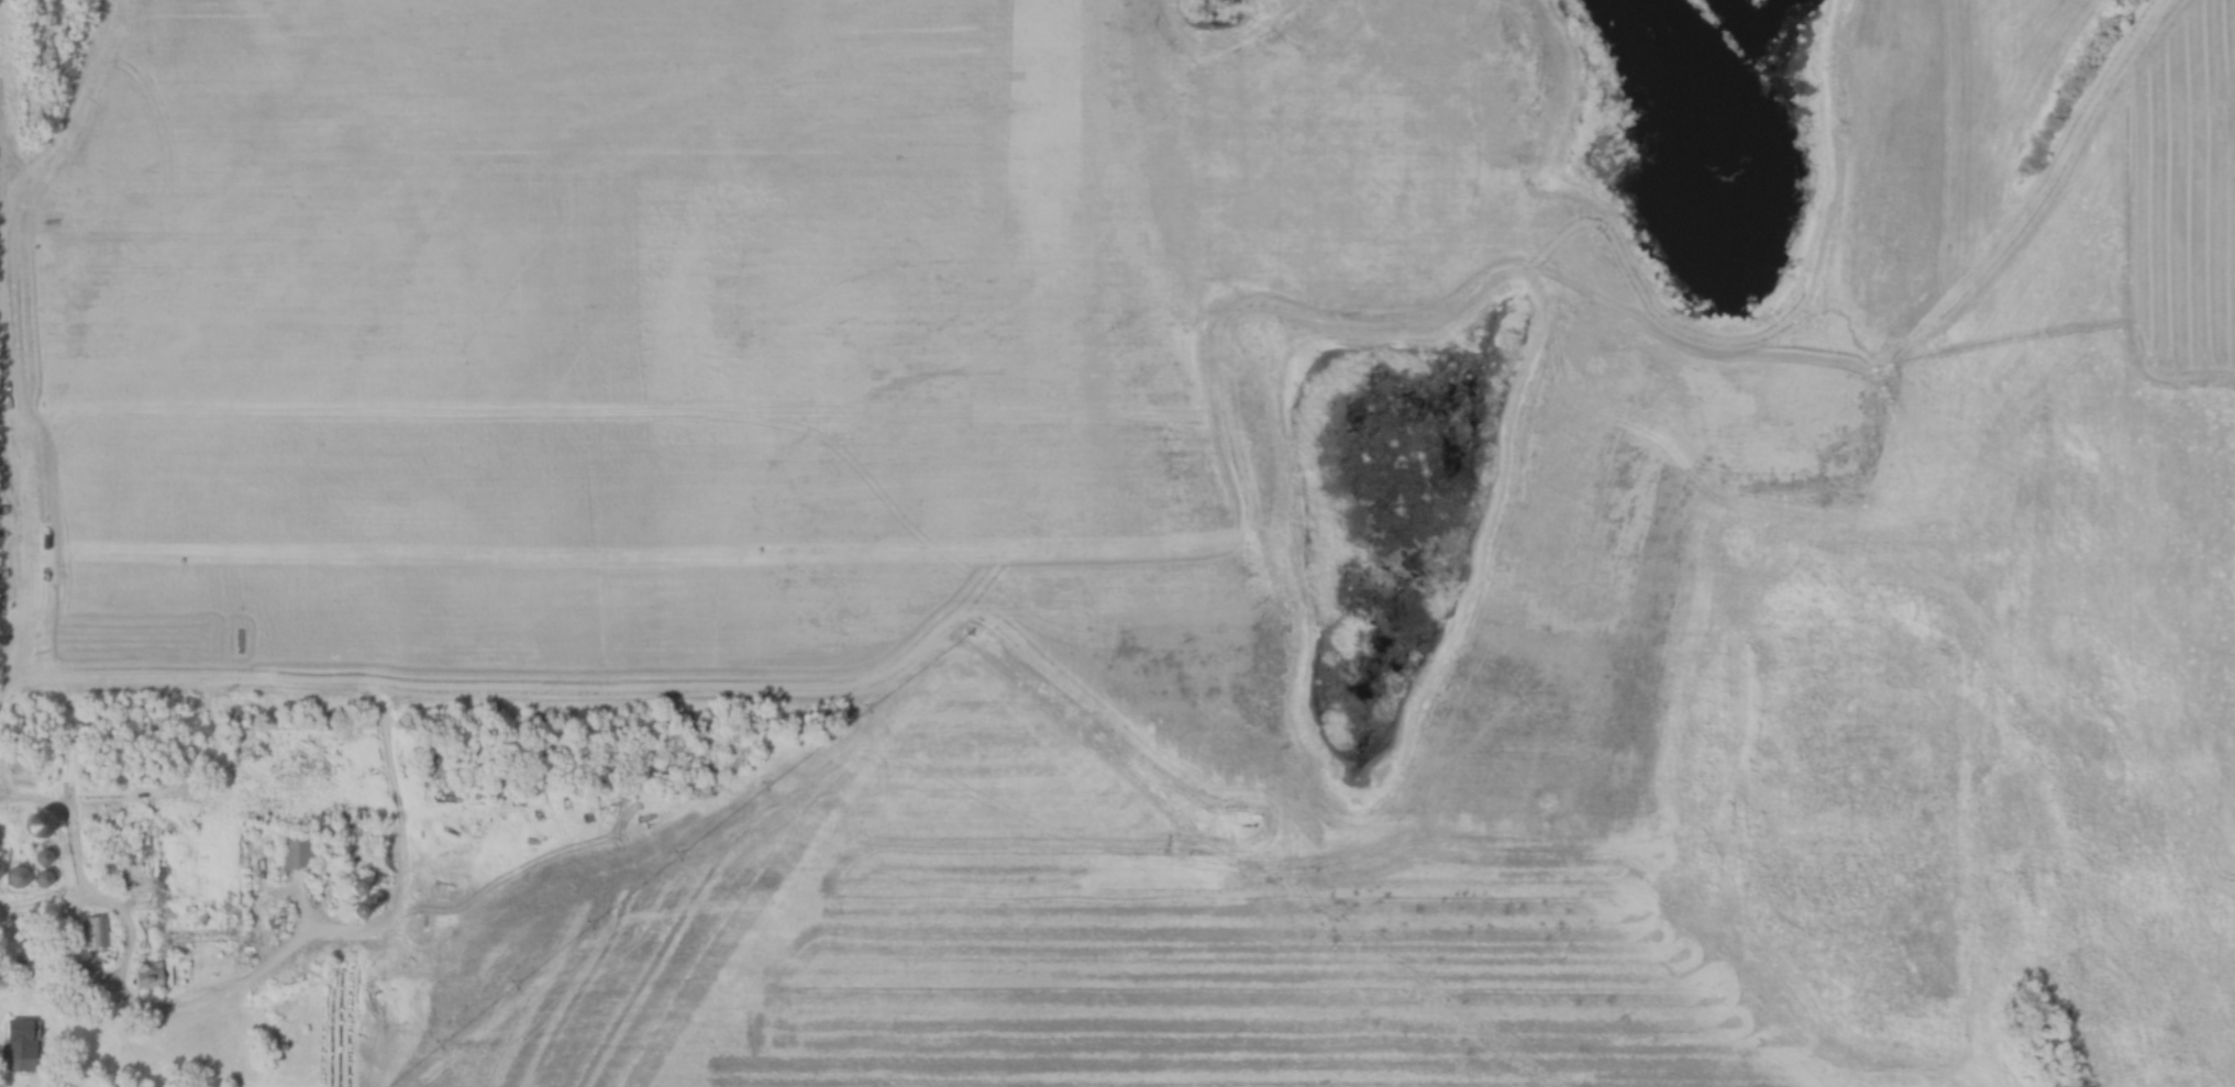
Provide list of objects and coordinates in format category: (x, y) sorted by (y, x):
building: (298, 852)
building: (147, 897)
building: (363, 910)
building: (186, 921)
road: (92, 923)
road: (217, 994)
building: (22, 1046)

